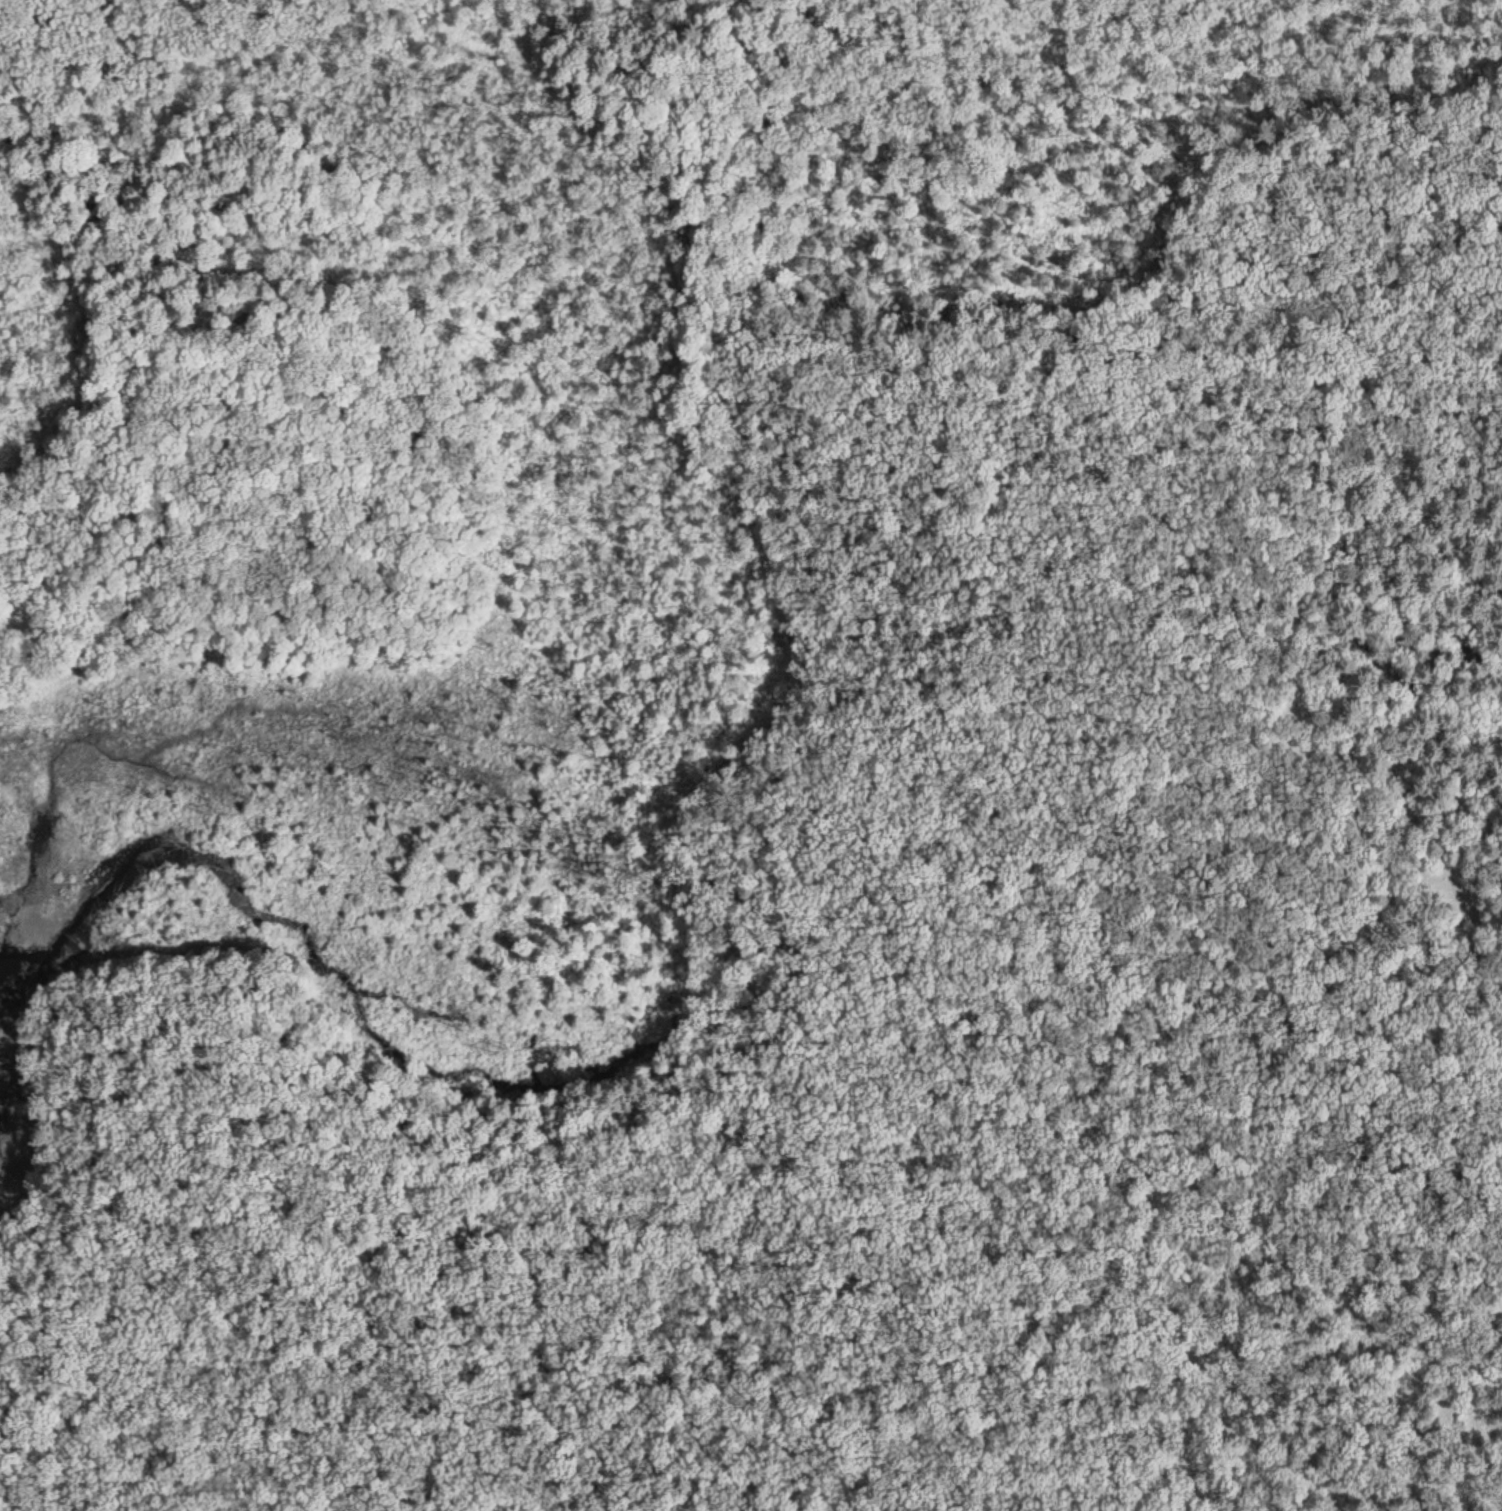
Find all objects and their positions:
road: (1307, 1360)

